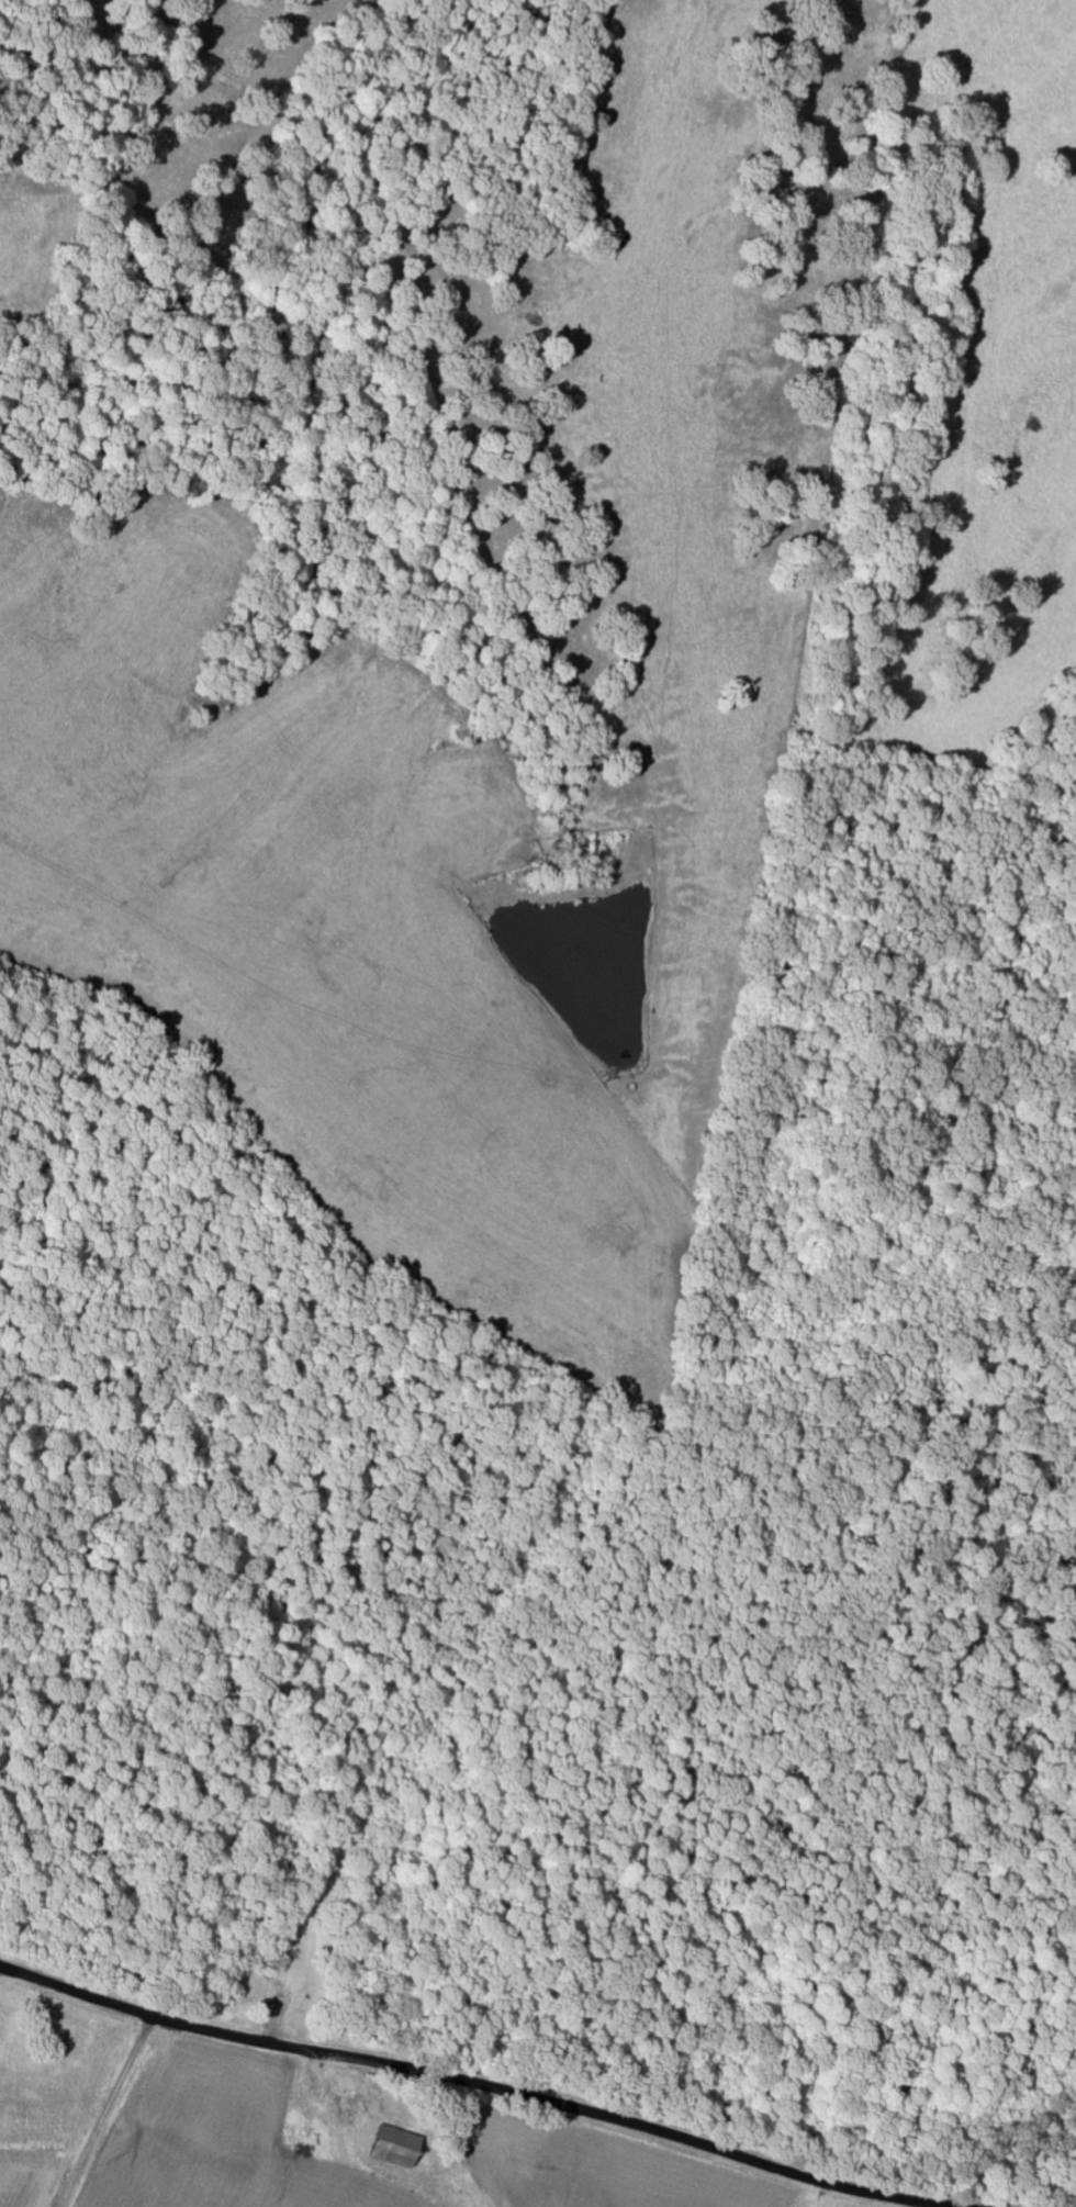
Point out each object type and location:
road: (473, 2086)
building: (402, 2147)
road: (861, 2199)

